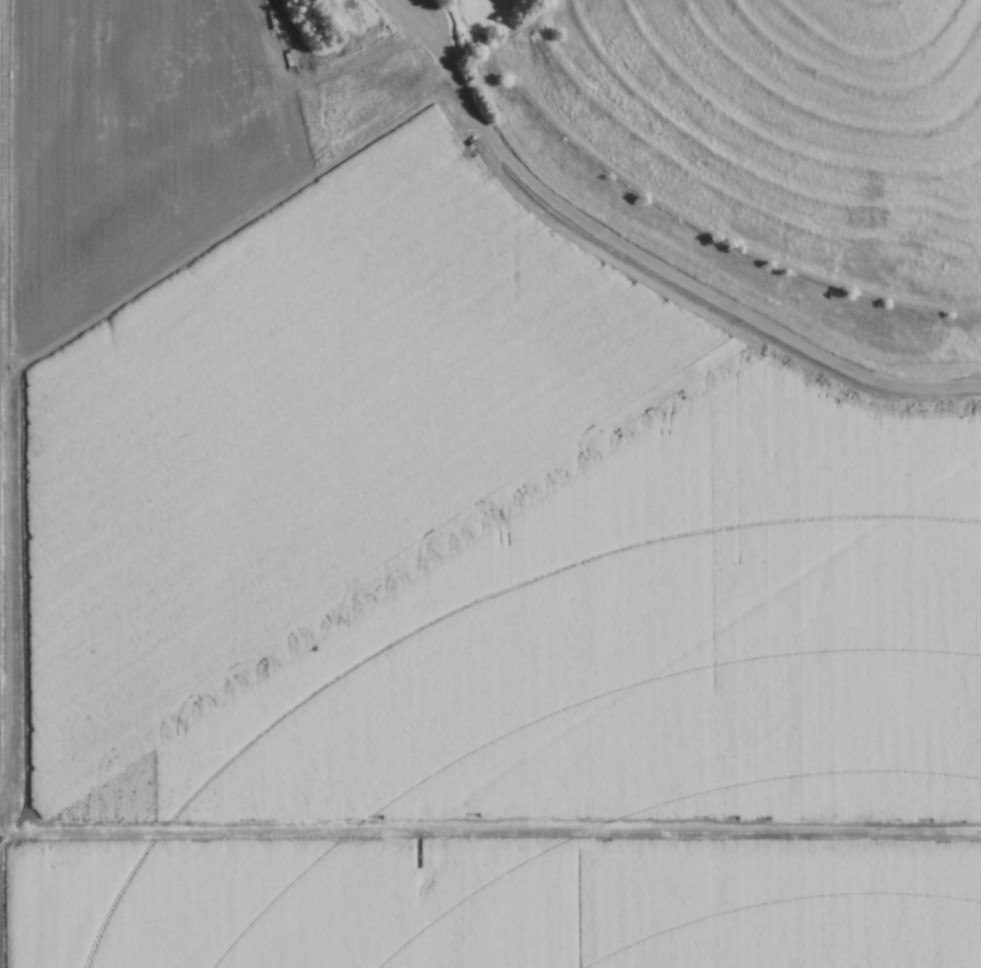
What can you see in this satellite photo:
road: (643, 258)
road: (82, 332)
crop: (429, 487)
road: (489, 843)
crop: (489, 908)

